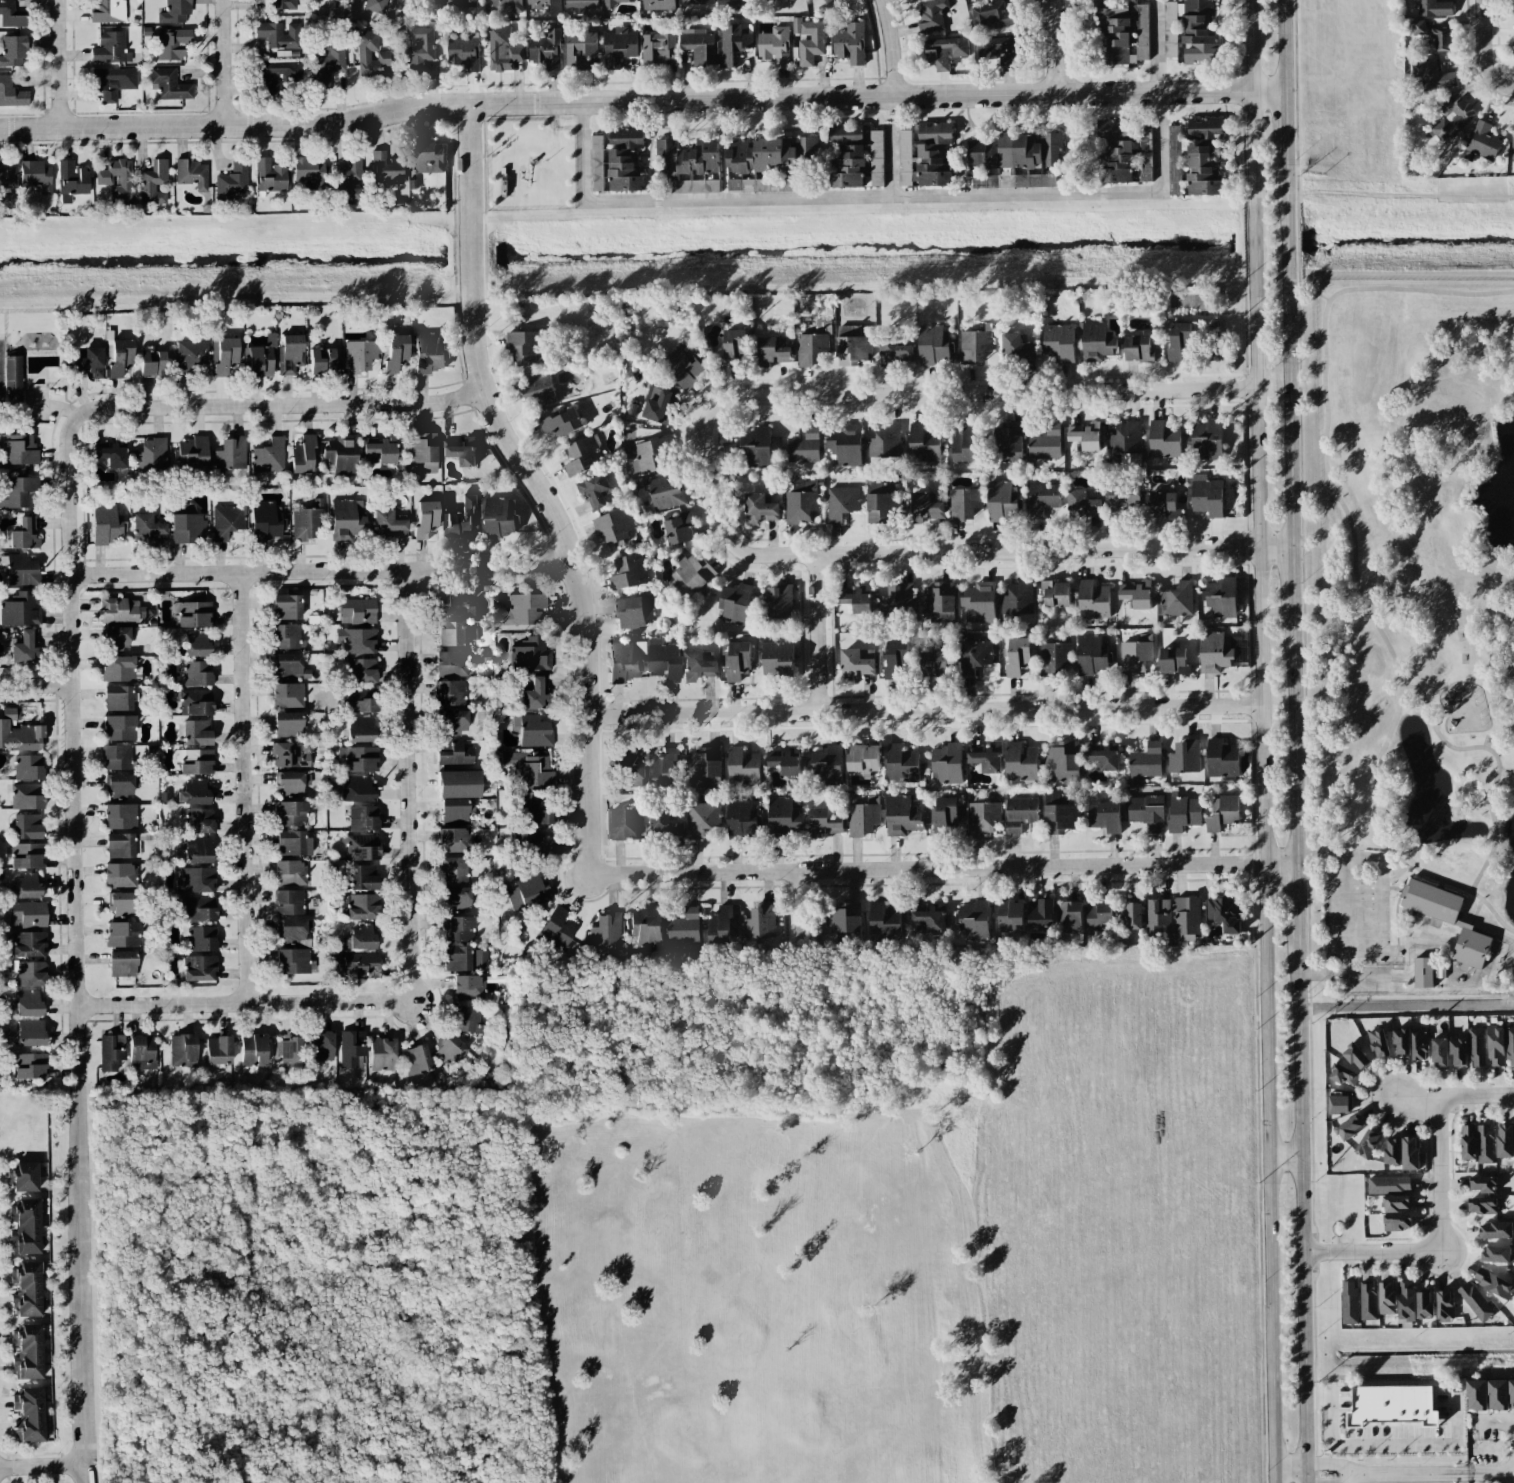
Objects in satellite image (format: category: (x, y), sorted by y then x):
building: (338, 0)
building: (826, 1)
building: (695, 2)
building: (459, 3)
building: (612, 3)
building: (282, 4)
building: (509, 4)
building: (581, 4)
building: (657, 4)
building: (735, 4)
building: (533, 5)
building: (1511, 5)
building: (375, 6)
building: (1434, 8)
building: (108, 11)
building: (174, 11)
building: (931, 14)
building: (10, 15)
building: (991, 15)
building: (1190, 31)
building: (1123, 32)
building: (278, 35)
building: (1433, 35)
building: (809, 40)
building: (732, 41)
building: (172, 43)
building: (850, 43)
building: (580, 45)
building: (698, 45)
building: (619, 46)
building: (657, 46)
building: (774, 46)
road: (1059, 46)
road: (1281, 46)
road: (1485, 47)
building: (1513, 47)
building: (110, 48)
building: (420, 48)
road: (892, 48)
building: (13, 50)
building: (502, 50)
building: (546, 50)
building: (945, 51)
building: (998, 51)
building: (463, 53)
building: (371, 54)
road: (225, 62)
road: (60, 63)
building: (327, 64)
building: (278, 72)
building: (1434, 76)
building: (112, 82)
building: (169, 84)
road: (1510, 85)
building: (11, 93)
road: (639, 100)
road: (1248, 102)
building: (1451, 117)
road: (1282, 128)
building: (626, 137)
building: (1482, 142)
building: (1512, 148)
building: (1124, 150)
building: (1015, 151)
building: (768, 154)
building: (427, 156)
building: (688, 156)
building: (855, 156)
building: (925, 156)
building: (1194, 158)
building: (596, 163)
road: (897, 164)
building: (385, 168)
building: (308, 171)
building: (622, 171)
building: (191, 173)
building: (269, 175)
building: (6, 176)
building: (35, 177)
building: (1039, 180)
building: (71, 181)
building: (117, 181)
building: (231, 181)
building: (153, 182)
road: (1283, 183)
building: (761, 185)
road: (918, 195)
road: (1285, 240)
road: (1250, 241)
road: (1307, 290)
building: (1179, 340)
building: (1097, 341)
building: (1059, 342)
building: (853, 345)
building: (934, 345)
building: (974, 345)
building: (732, 346)
building: (1016, 346)
building: (894, 347)
building: (522, 348)
building: (1138, 348)
building: (811, 349)
building: (397, 350)
building: (772, 351)
building: (429, 352)
building: (290, 354)
building: (190, 355)
building: (226, 355)
building: (359, 356)
building: (119, 357)
building: (262, 358)
building: (322, 359)
building: (88, 362)
building: (152, 363)
building: (683, 368)
building: (12, 379)
building: (538, 388)
road: (991, 391)
road: (278, 404)
building: (659, 406)
road: (1287, 413)
building: (562, 423)
building: (1085, 436)
building: (1125, 438)
building: (885, 440)
building: (1164, 440)
building: (1207, 440)
building: (1010, 441)
building: (1045, 442)
building: (964, 443)
building: (845, 444)
building: (923, 444)
building: (804, 446)
building: (381, 447)
building: (756, 447)
building: (18, 449)
building: (191, 451)
building: (460, 451)
building: (421, 452)
building: (230, 453)
building: (342, 453)
building: (302, 454)
building: (151, 455)
building: (651, 455)
building: (111, 456)
building: (269, 456)
building: (582, 456)
road: (535, 484)
building: (798, 486)
building: (593, 490)
building: (17, 492)
building: (665, 492)
building: (1206, 495)
building: (1042, 498)
building: (1117, 499)
building: (1002, 501)
building: (841, 502)
building: (880, 502)
building: (962, 503)
building: (1082, 503)
building: (800, 504)
building: (1164, 505)
building: (925, 508)
building: (759, 509)
building: (499, 517)
building: (346, 519)
building: (425, 519)
building: (462, 519)
building: (227, 521)
building: (266, 521)
building: (307, 521)
building: (186, 523)
building: (106, 524)
building: (387, 524)
building: (614, 526)
building: (147, 528)
building: (678, 529)
building: (24, 534)
road: (930, 552)
road: (1352, 559)
building: (21, 570)
building: (629, 571)
road: (322, 572)
building: (690, 574)
road: (1290, 584)
building: (1056, 593)
building: (1137, 594)
building: (895, 595)
building: (1221, 597)
building: (856, 598)
building: (1017, 598)
building: (1093, 599)
building: (1177, 599)
building: (735, 602)
building: (777, 602)
building: (937, 603)
building: (978, 603)
building: (454, 605)
building: (286, 606)
building: (523, 609)
building: (20, 610)
building: (121, 610)
building: (357, 610)
building: (633, 611)
building: (193, 614)
building: (451, 633)
road: (819, 633)
park: (1416, 634)
building: (116, 637)
building: (286, 637)
building: (356, 640)
building: (197, 644)
building: (24, 647)
building: (1214, 653)
building: (1091, 654)
building: (530, 655)
building: (974, 655)
building: (1017, 655)
building: (1135, 655)
building: (1054, 658)
building: (734, 659)
building: (896, 659)
building: (663, 660)
building: (778, 660)
building: (1173, 661)
building: (451, 663)
building: (855, 664)
building: (933, 664)
building: (290, 666)
building: (697, 666)
building: (119, 669)
building: (362, 670)
building: (197, 673)
road: (37, 684)
building: (449, 692)
building: (287, 695)
building: (537, 695)
building: (117, 697)
building: (359, 701)
building: (195, 702)
road: (924, 711)
road: (1439, 716)
building: (453, 721)
building: (288, 724)
building: (119, 727)
building: (361, 728)
building: (534, 731)
building: (18, 732)
building: (196, 732)
road: (1292, 741)
road: (76, 751)
building: (453, 752)
building: (289, 755)
building: (1105, 756)
building: (115, 757)
building: (1184, 757)
building: (359, 758)
building: (987, 758)
building: (862, 759)
building: (785, 760)
building: (195, 761)
building: (1063, 761)
building: (1222, 761)
road: (1495, 761)
building: (1021, 762)
building: (1145, 762)
building: (947, 763)
building: (827, 764)
building: (902, 764)
building: (665, 765)
building: (706, 766)
building: (743, 766)
building: (28, 767)
building: (633, 767)
building: (529, 768)
building: (290, 781)
building: (119, 784)
building: (458, 784)
road: (411, 785)
road: (246, 787)
building: (357, 788)
building: (194, 792)
building: (26, 796)
building: (453, 810)
building: (535, 810)
building: (1146, 812)
building: (1183, 812)
building: (1223, 812)
building: (290, 813)
building: (944, 813)
building: (1020, 813)
building: (901, 814)
building: (1058, 814)
building: (1103, 815)
building: (120, 816)
building: (784, 817)
building: (863, 817)
building: (982, 817)
building: (364, 818)
building: (702, 818)
building: (742, 818)
building: (199, 820)
building: (665, 822)
building: (824, 822)
building: (626, 823)
building: (26, 826)
building: (452, 840)
building: (531, 842)
building: (290, 843)
building: (120, 845)
building: (362, 847)
building: (199, 850)
building: (26, 855)
road: (940, 867)
building: (453, 869)
building: (290, 872)
road: (1396, 874)
building: (119, 875)
building: (361, 878)
building: (196, 880)
road: (1262, 880)
building: (26, 885)
road: (1390, 889)
building: (528, 892)
building: (457, 897)
road: (1295, 898)
building: (121, 902)
building: (288, 902)
building: (362, 906)
building: (198, 908)
road: (801, 908)
building: (1226, 912)
building: (27, 913)
building: (1040, 913)
road: (1474, 914)
building: (1010, 915)
building: (1186, 915)
building: (1069, 916)
building: (1129, 916)
road: (1343, 916)
building: (1099, 917)
building: (1157, 917)
road: (1381, 917)
road: (1394, 917)
building: (930, 918)
building: (1446, 919)
building: (974, 920)
building: (843, 921)
building: (759, 922)
building: (884, 922)
building: (719, 925)
building: (645, 926)
building: (558, 927)
building: (683, 927)
building: (457, 928)
building: (606, 930)
building: (295, 932)
building: (122, 934)
building: (362, 937)
building: (201, 938)
building: (28, 944)
building: (457, 958)
building: (479, 959)
building: (293, 961)
building: (122, 963)
building: (357, 963)
building: (198, 968)
building: (1422, 972)
building: (31, 973)
road: (1396, 979)
road: (241, 1002)
building: (29, 1003)
road: (1405, 1005)
building: (465, 1019)
building: (30, 1032)
building: (1401, 1041)
building: (1378, 1043)
building: (1419, 1045)
building: (1495, 1045)
building: (1510, 1045)
building: (320, 1046)
building: (1476, 1047)
building: (351, 1048)
building: (218, 1049)
building: (182, 1050)
building: (287, 1050)
building: (449, 1050)
building: (111, 1051)
building: (1458, 1051)
building: (141, 1052)
building: (252, 1052)
building: (1439, 1052)
building: (382, 1053)
building: (1356, 1056)
building: (416, 1059)
building: (29, 1065)
building: (1344, 1075)
road: (1453, 1097)
building: (1339, 1104)
building: (1348, 1127)
building: (1504, 1140)
building: (1467, 1142)
building: (1367, 1143)
building: (1485, 1144)
building: (1392, 1151)
building: (1409, 1152)
road: (1284, 1156)
road: (1439, 1175)
building: (24, 1177)
building: (1388, 1184)
building: (1481, 1184)
road: (1300, 1200)
building: (1396, 1203)
building: (1482, 1205)
building: (1397, 1222)
building: (25, 1226)
building: (1495, 1230)
road: (1372, 1254)
building: (1496, 1254)
building: (1493, 1283)
road: (83, 1286)
building: (26, 1289)
building: (1386, 1298)
building: (1367, 1300)
building: (1405, 1300)
building: (1474, 1301)
building: (1349, 1303)
building: (1424, 1305)
building: (1444, 1305)
building: (27, 1352)
building: (1498, 1394)
building: (1511, 1394)
building: (1476, 1395)
building: (1393, 1405)
building: (29, 1414)
road: (1499, 1424)
road: (1361, 1445)
road: (43, 1465)
road: (1289, 1467)
road: (1334, 1467)
road: (1306, 1473)
road: (1438, 1473)
road: (1289, 1480)
road: (1335, 1480)
road: (1306, 1481)
road: (1347, 1482)

